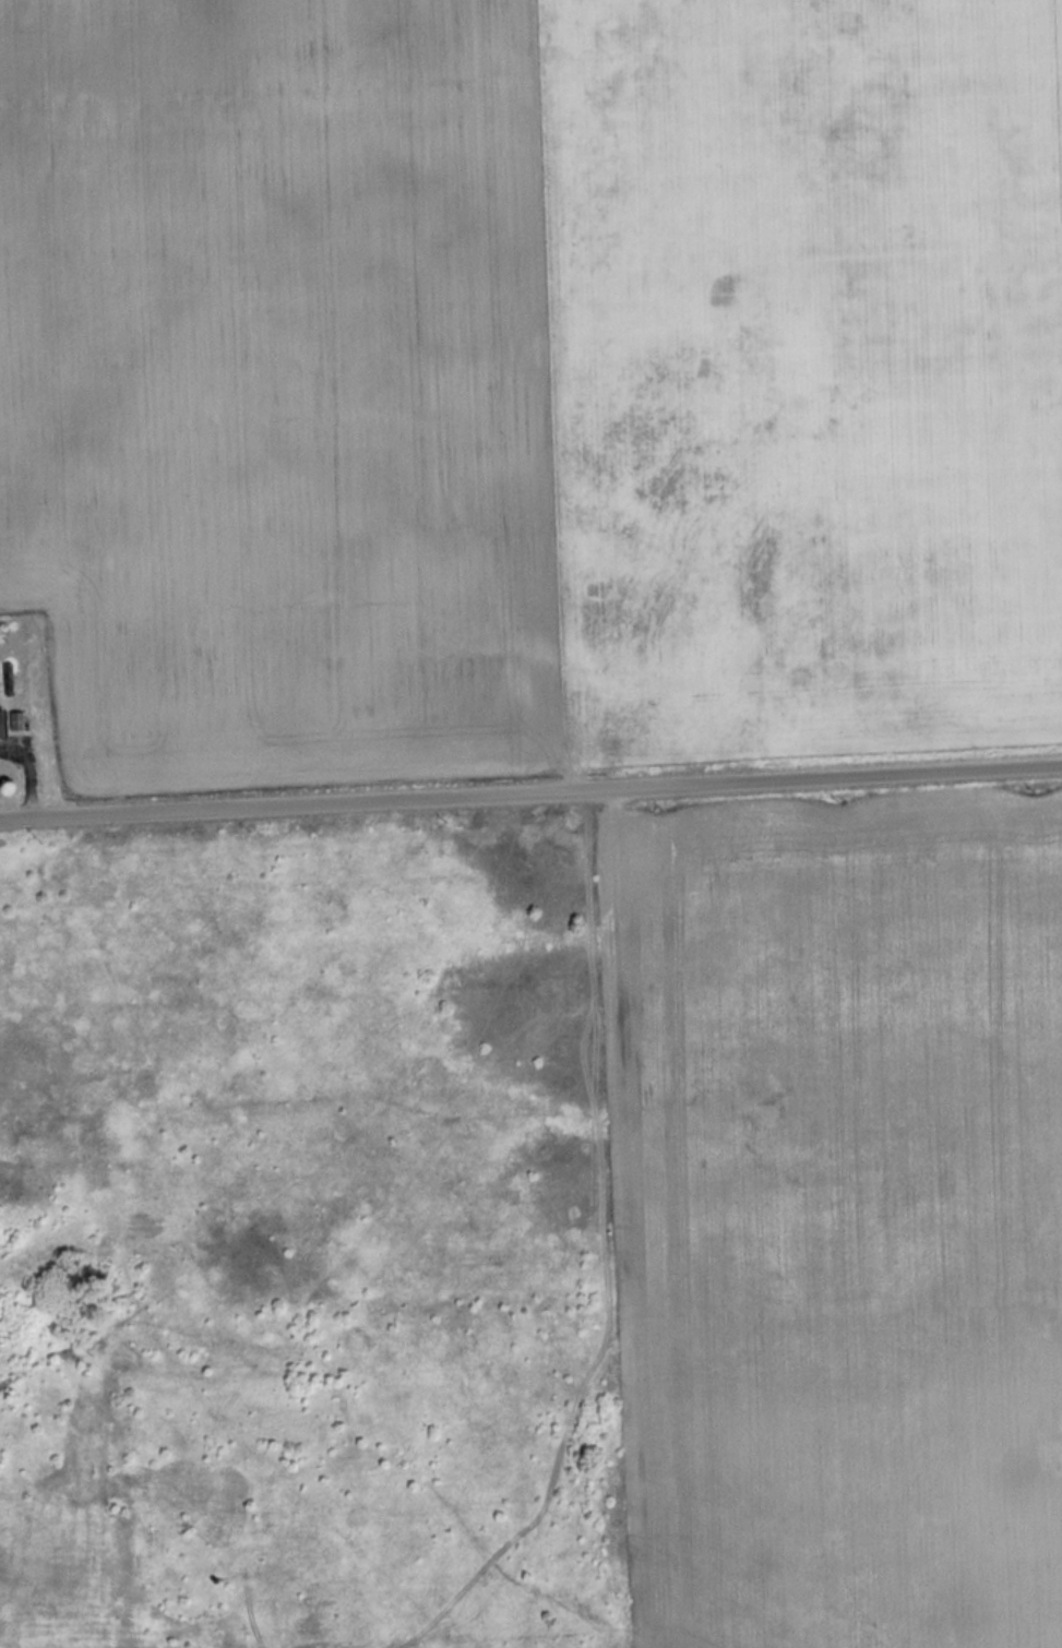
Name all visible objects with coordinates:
crop: (523, 378)
building: (2, 727)
road: (530, 792)
crop: (843, 1221)

